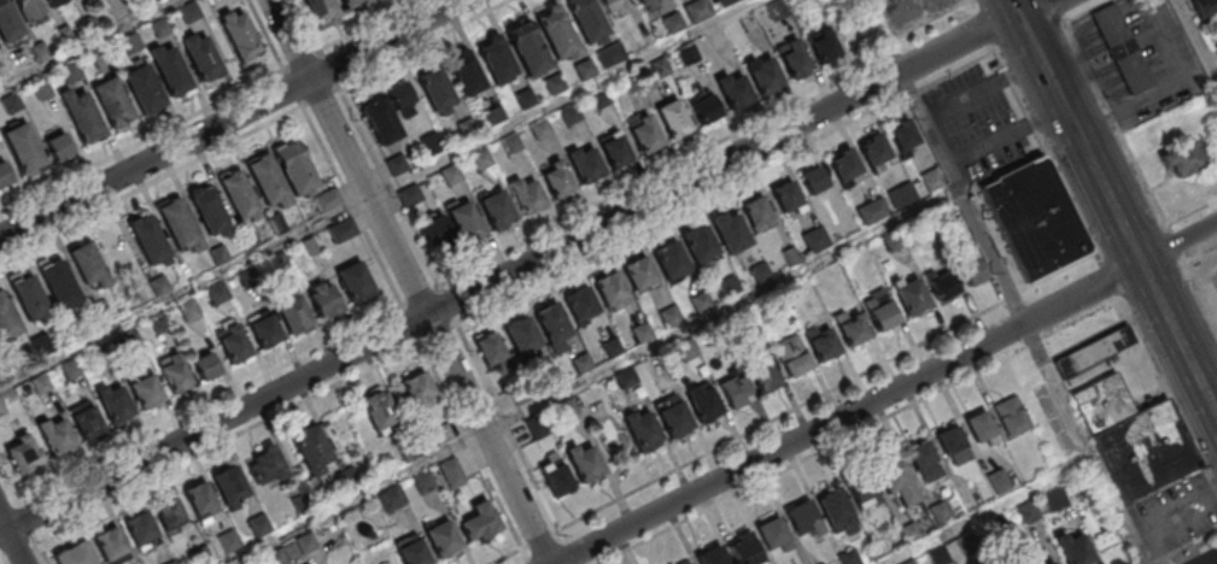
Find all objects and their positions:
building: (724, 1)
building: (809, 1)
building: (54, 2)
building: (223, 2)
building: (349, 2)
building: (612, 4)
building: (649, 4)
road: (975, 6)
building: (1203, 6)
road: (1060, 8)
building: (30, 10)
building: (320, 10)
building: (779, 10)
building: (698, 11)
parking lot: (911, 11)
building: (191, 12)
building: (586, 20)
building: (10, 22)
building: (92, 23)
building: (674, 24)
building: (163, 29)
building: (555, 31)
road: (985, 31)
building: (65, 34)
road: (267, 35)
building: (242, 37)
road: (1198, 37)
building: (824, 43)
road: (89, 45)
building: (134, 45)
building: (528, 48)
building: (1122, 48)
building: (40, 49)
building: (203, 54)
building: (690, 54)
building: (612, 57)
building: (794, 58)
building: (103, 59)
building: (497, 61)
building: (660, 67)
building: (586, 70)
building: (174, 71)
building: (74, 72)
building: (466, 72)
building: (767, 75)
building: (631, 84)
building: (555, 86)
building: (146, 89)
building: (437, 89)
road: (982, 89)
building: (43, 90)
building: (738, 93)
building: (402, 99)
building: (527, 100)
building: (602, 100)
road: (346, 101)
building: (116, 102)
building: (14, 104)
building: (704, 107)
building: (572, 116)
building: (86, 117)
road: (233, 118)
building: (674, 118)
building: (381, 122)
building: (540, 131)
building: (645, 134)
building: (903, 136)
road: (1006, 139)
road: (142, 143)
building: (432, 145)
building: (58, 146)
building: (513, 146)
building: (25, 148)
building: (873, 149)
building: (616, 152)
road: (695, 157)
road: (1049, 157)
building: (1183, 158)
building: (481, 160)
road: (942, 163)
building: (843, 165)
building: (294, 166)
building: (397, 166)
building: (586, 166)
road: (1140, 172)
building: (4, 174)
building: (451, 176)
building: (554, 178)
building: (267, 180)
building: (817, 180)
building: (934, 180)
road: (150, 184)
road: (1106, 190)
road: (378, 192)
building: (907, 193)
building: (239, 195)
road: (708, 195)
building: (788, 196)
building: (410, 198)
building: (327, 199)
building: (528, 199)
road: (351, 206)
building: (211, 212)
building: (498, 212)
building: (873, 212)
building: (759, 215)
building: (463, 219)
building: (1035, 219)
building: (275, 222)
building: (180, 224)
building: (341, 229)
building: (434, 230)
building: (731, 231)
building: (248, 239)
building: (151, 241)
building: (818, 241)
building: (700, 243)
building: (309, 245)
building: (218, 253)
building: (669, 258)
building: (792, 258)
building: (276, 262)
road: (536, 262)
building: (90, 265)
building: (639, 272)
building: (973, 272)
building: (762, 274)
building: (353, 280)
road: (410, 282)
road: (1111, 283)
building: (62, 284)
building: (159, 284)
building: (731, 287)
building: (943, 287)
building: (610, 288)
building: (218, 293)
building: (911, 295)
building: (322, 299)
building: (31, 300)
building: (580, 304)
building: (701, 304)
building: (188, 310)
building: (880, 310)
building: (291, 311)
building: (671, 317)
building: (7, 319)
building: (550, 319)
building: (159, 322)
building: (263, 329)
building: (853, 330)
building: (521, 334)
building: (643, 334)
building: (129, 337)
building: (41, 343)
building: (233, 345)
building: (823, 346)
building: (613, 348)
building: (1094, 351)
building: (493, 353)
building: (791, 357)
building: (584, 364)
building: (205, 365)
building: (70, 368)
building: (174, 374)
building: (765, 377)
road: (595, 378)
building: (554, 380)
building: (627, 380)
building: (40, 382)
building: (145, 389)
building: (417, 390)
building: (736, 390)
road: (889, 394)
building: (519, 395)
road: (1169, 398)
road: (1209, 399)
building: (115, 404)
road: (211, 405)
building: (704, 405)
building: (1, 409)
building: (376, 409)
building: (571, 410)
building: (1011, 415)
building: (84, 418)
building: (674, 419)
building: (981, 427)
building: (538, 428)
building: (643, 429)
road: (246, 431)
building: (54, 435)
building: (443, 436)
building: (1134, 439)
road: (1083, 445)
building: (953, 446)
building: (310, 448)
building: (23, 452)
building: (409, 452)
building: (923, 462)
building: (584, 463)
building: (264, 466)
building: (452, 474)
building: (557, 478)
building: (349, 480)
road: (10, 482)
building: (895, 482)
building: (425, 483)
building: (229, 487)
building: (864, 494)
building: (1054, 498)
building: (200, 501)
building: (390, 501)
building: (303, 505)
building: (836, 512)
road: (990, 512)
building: (941, 513)
building: (169, 516)
building: (803, 518)
building: (480, 522)
road: (2, 524)
building: (261, 527)
building: (139, 530)
road: (2, 531)
building: (773, 534)
building: (441, 537)
road: (543, 539)
building: (229, 542)
building: (306, 545)
road: (1182, 546)
road: (13, 547)
building: (744, 548)
building: (1073, 548)
building: (94, 550)
building: (410, 550)
building: (712, 556)
building: (201, 557)
building: (277, 557)
road: (1212, 562)
building: (174, 563)
building: (685, 563)
building: (824, 563)
building: (1049, 563)

